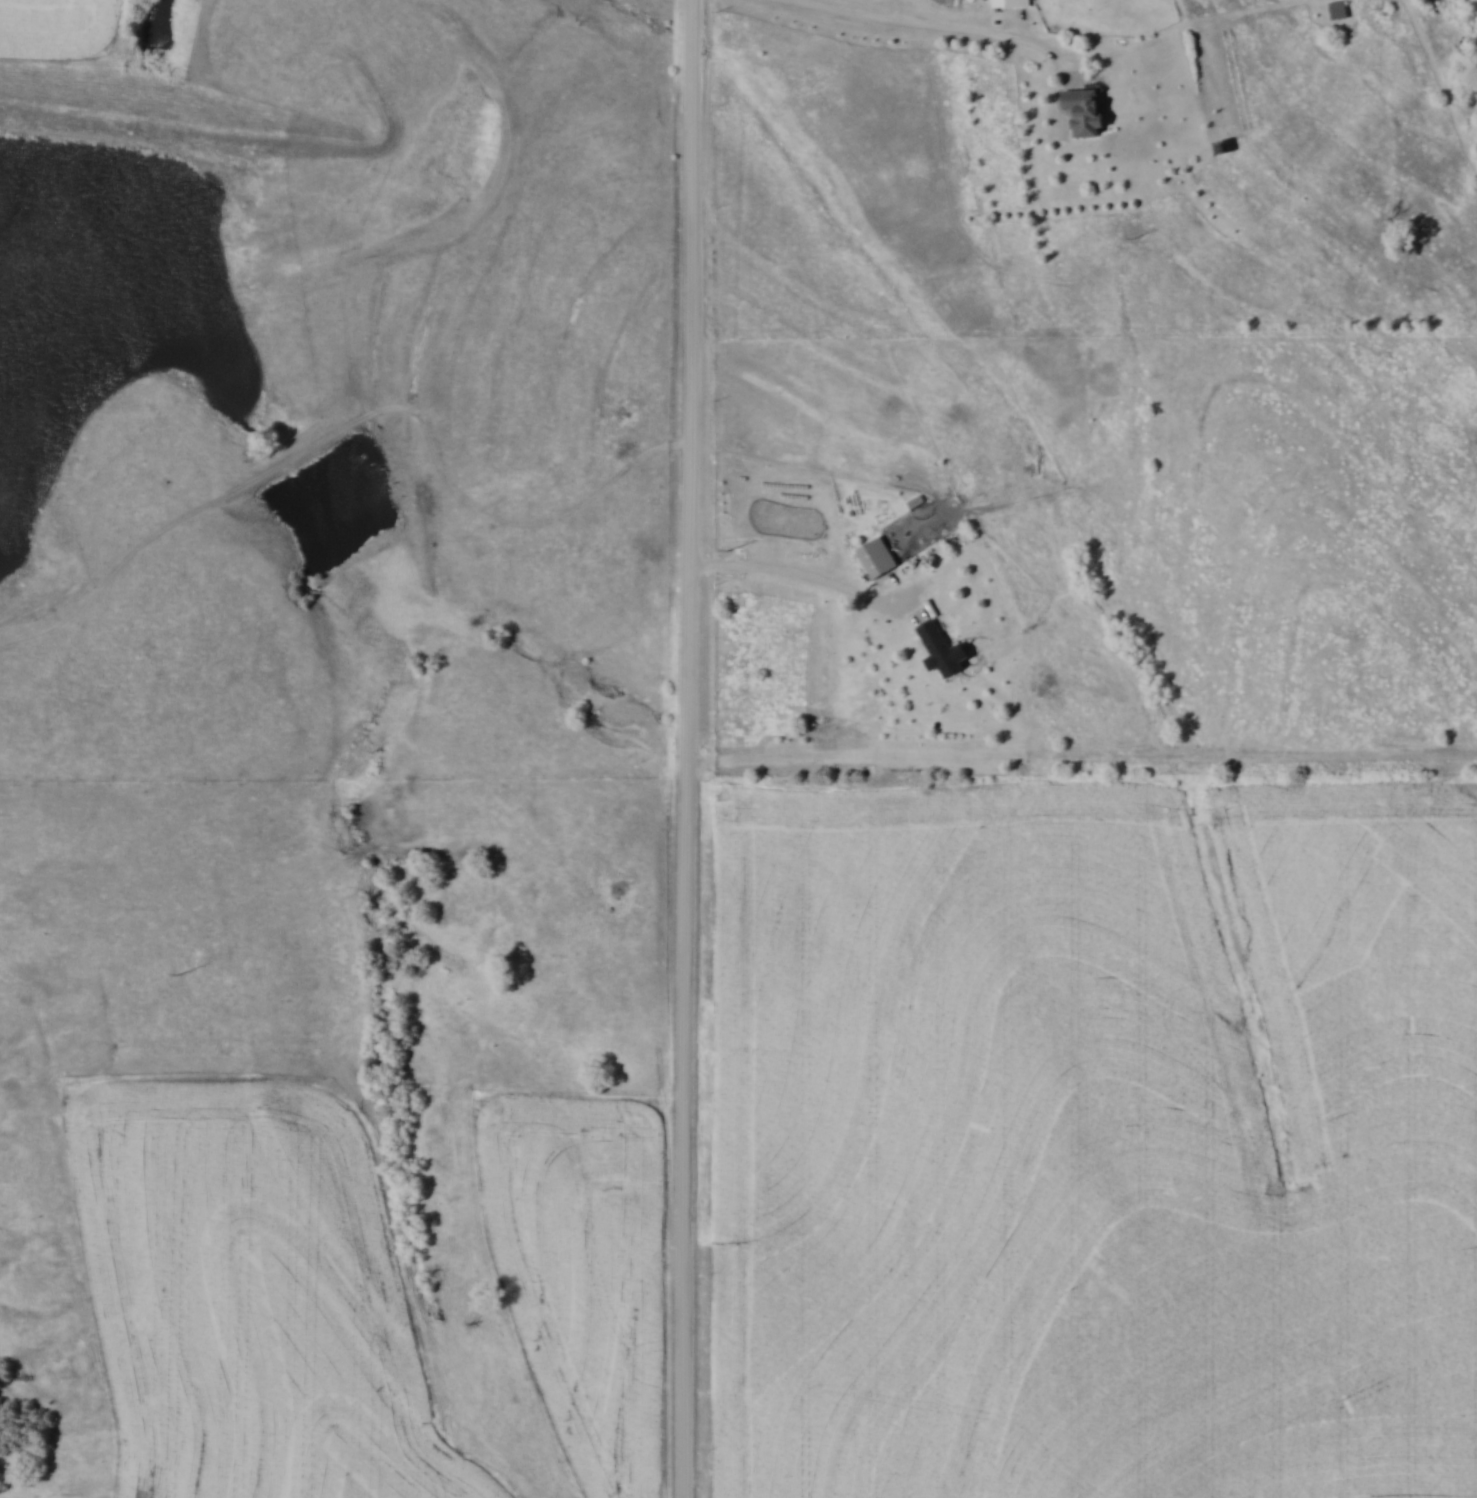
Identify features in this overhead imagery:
building: (1008, 1)
building: (1339, 10)
road: (936, 25)
building: (1086, 111)
building: (878, 557)
road: (811, 583)
building: (941, 649)
building: (854, 702)
road: (694, 749)

